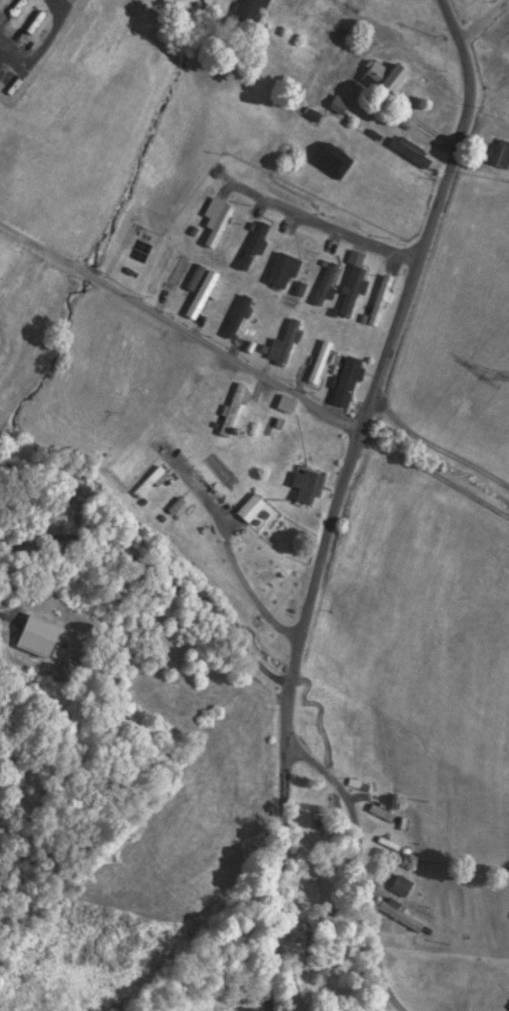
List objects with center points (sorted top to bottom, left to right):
building: (251, 11)
road: (480, 20)
road: (8, 32)
building: (387, 80)
building: (412, 153)
building: (501, 156)
building: (334, 161)
road: (430, 219)
building: (218, 221)
road: (321, 226)
building: (256, 248)
building: (284, 271)
building: (326, 285)
building: (354, 287)
building: (203, 296)
building: (382, 301)
building: (237, 318)
road: (180, 332)
building: (285, 346)
building: (320, 364)
building: (348, 383)
building: (196, 389)
building: (288, 405)
building: (234, 411)
building: (128, 468)
building: (208, 472)
road: (434, 478)
building: (309, 484)
building: (167, 507)
building: (252, 509)
building: (197, 546)
road: (230, 547)
building: (283, 562)
building: (222, 584)
road: (288, 719)
building: (382, 814)
road: (361, 859)
building: (402, 886)
building: (401, 917)

